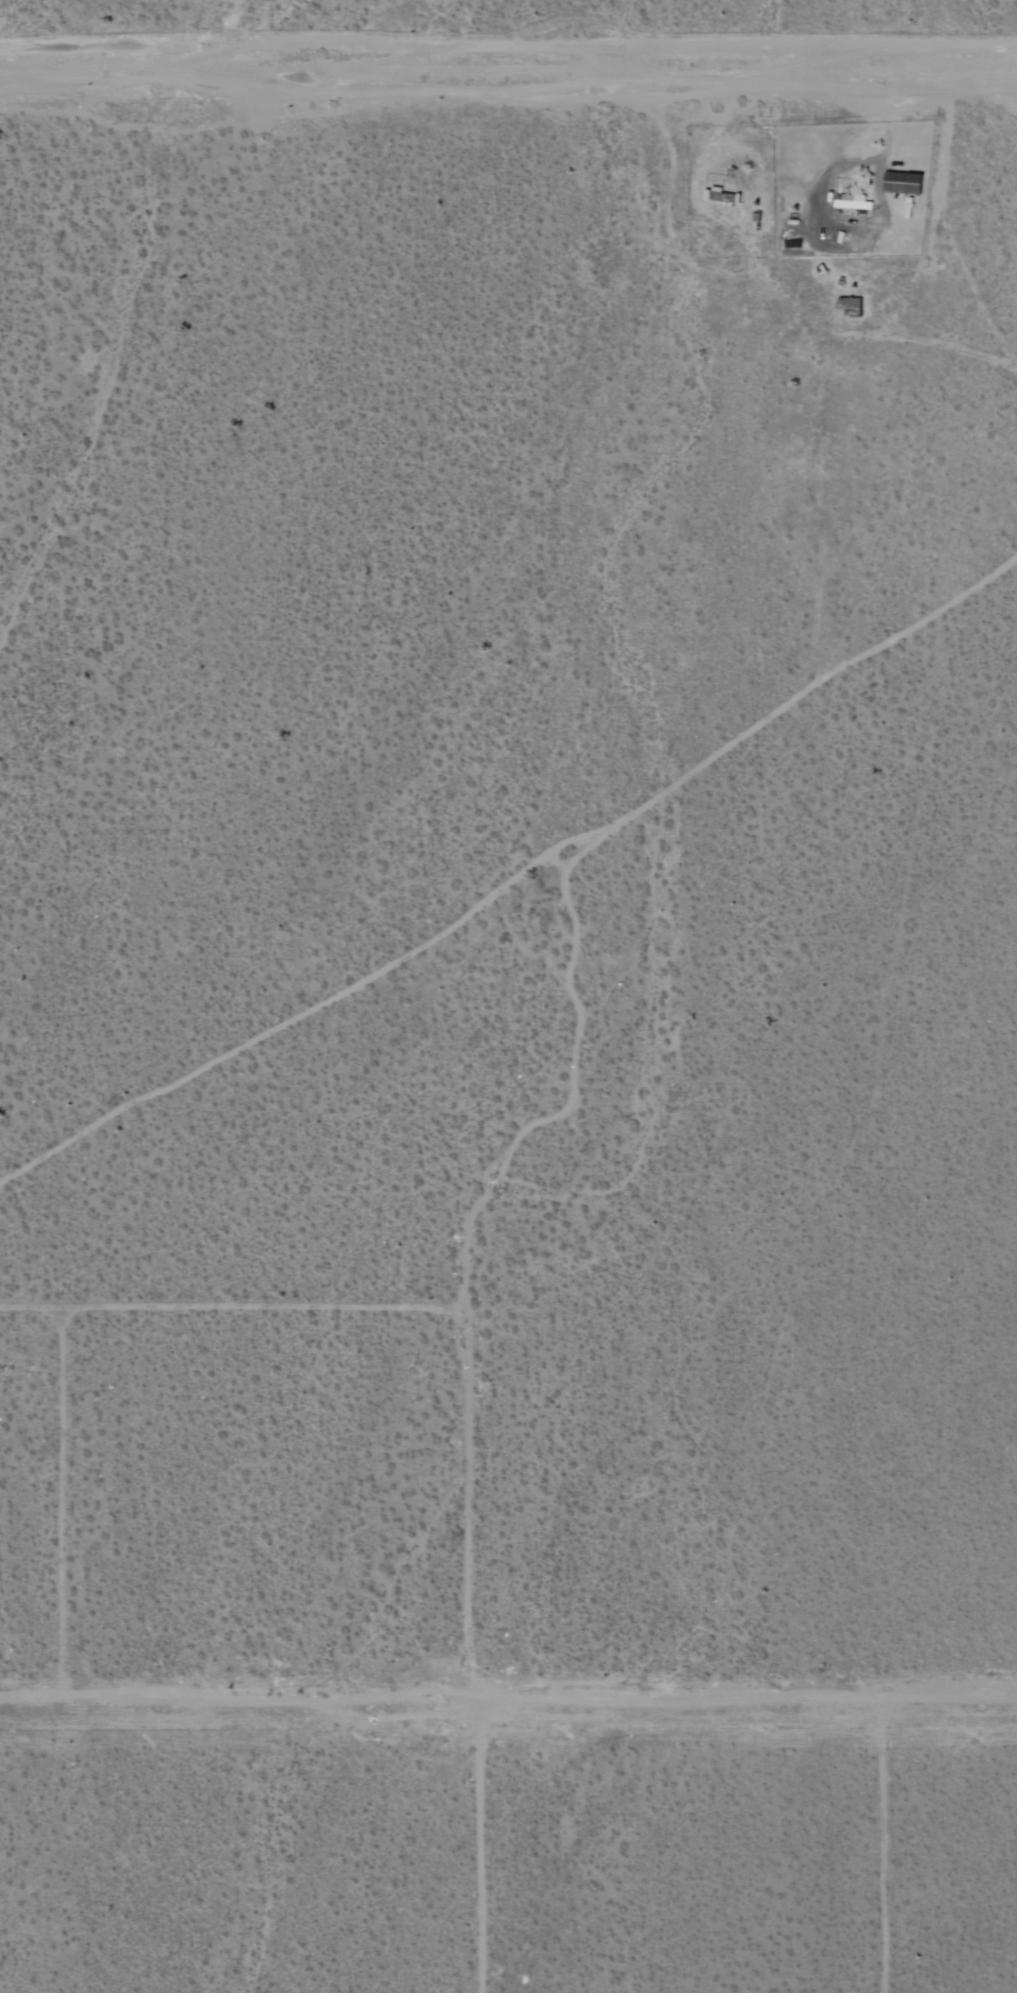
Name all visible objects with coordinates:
road: (508, 69)
building: (852, 202)
road: (508, 1701)
road: (472, 1847)

